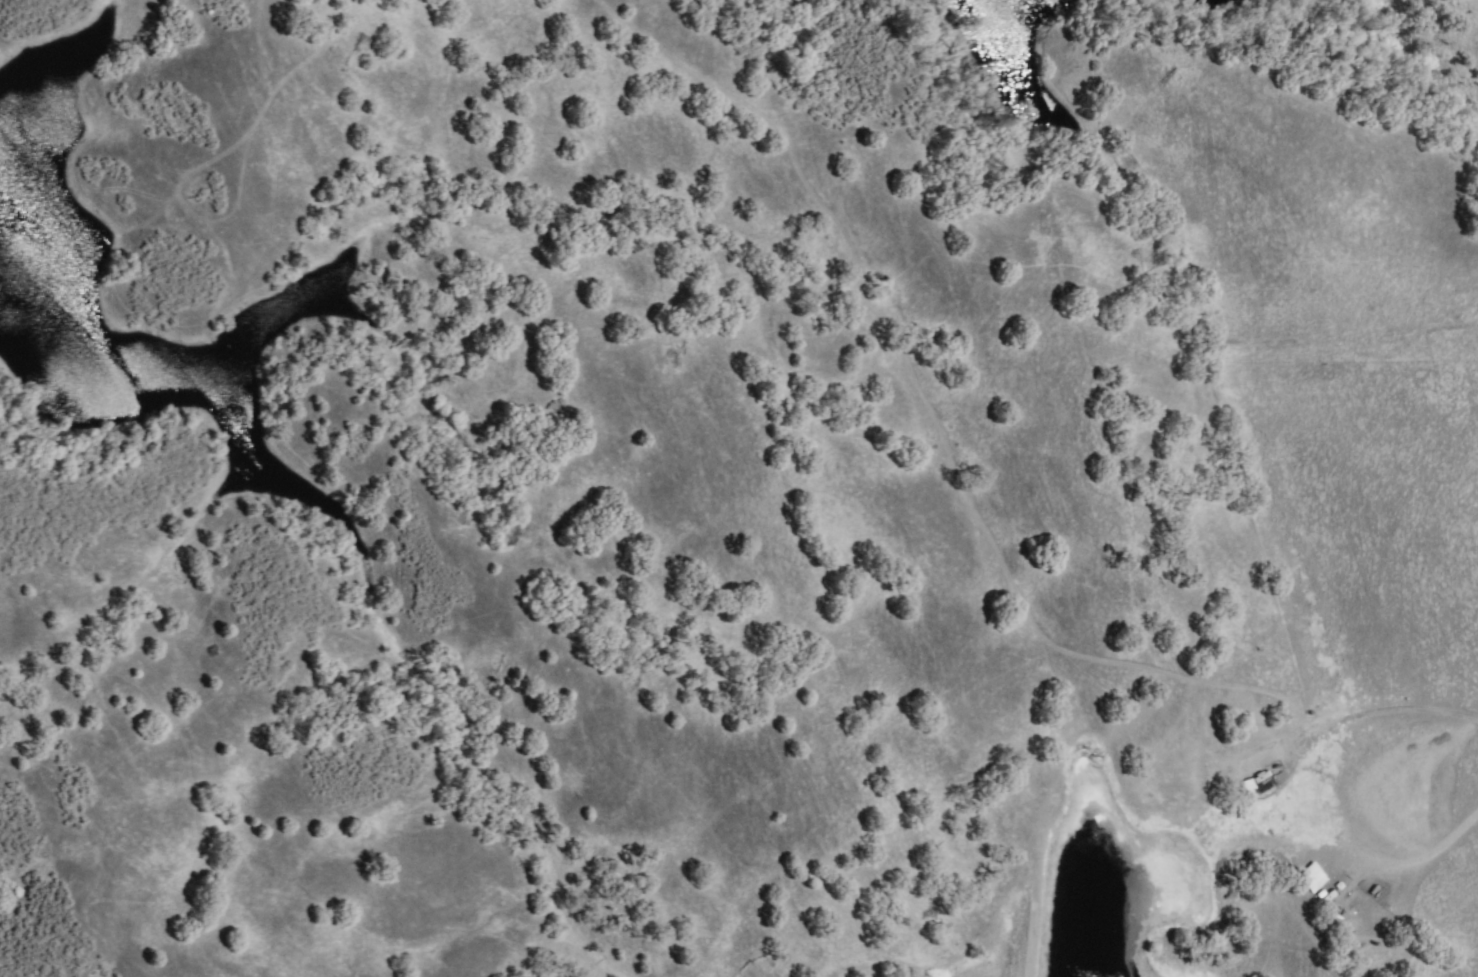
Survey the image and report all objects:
building: (1312, 878)

